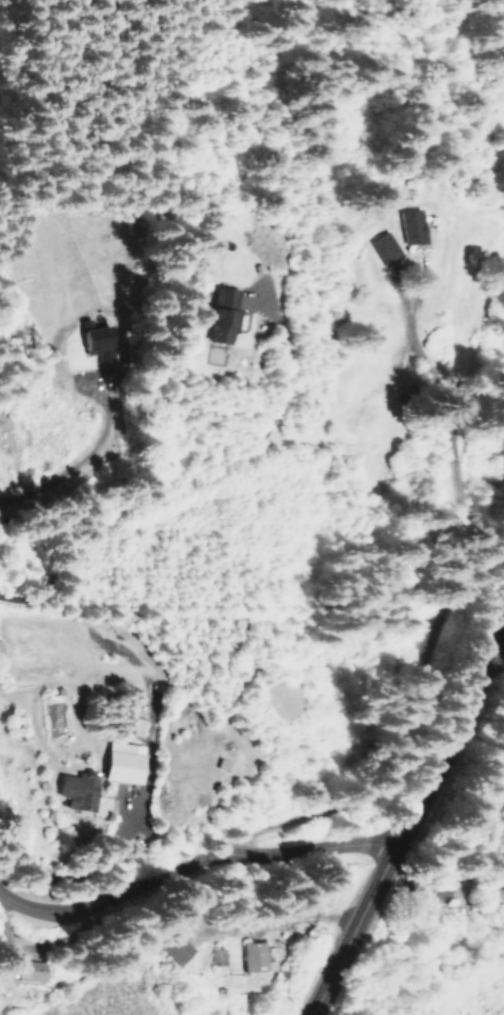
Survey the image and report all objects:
building: (409, 225)
building: (384, 247)
building: (220, 314)
building: (96, 336)
building: (0, 646)
building: (122, 761)
building: (76, 789)
road: (422, 805)
road: (198, 833)
road: (425, 872)
building: (176, 947)
building: (255, 957)
building: (25, 969)

